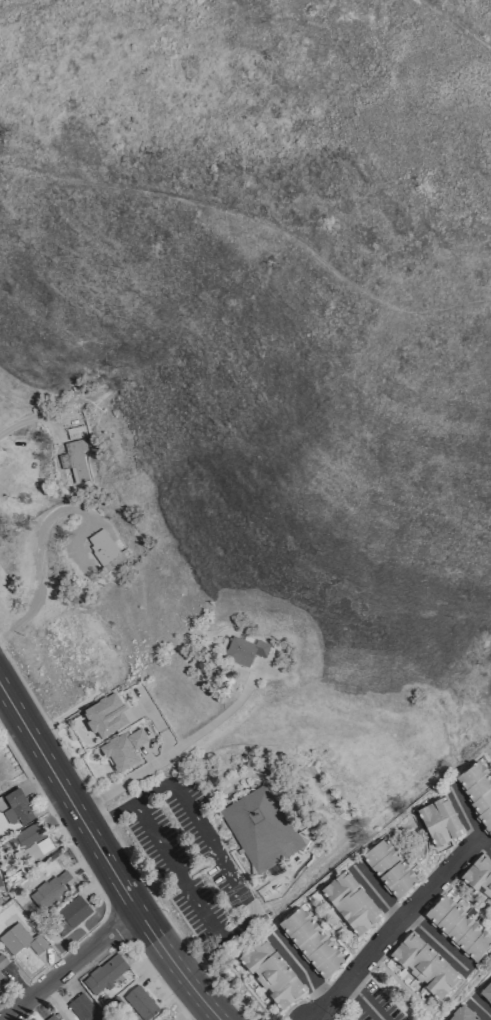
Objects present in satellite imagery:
road: (454, 22)
road: (257, 220)
road: (22, 420)
building: (19, 458)
building: (74, 460)
building: (103, 549)
road: (36, 559)
building: (92, 641)
building: (244, 650)
building: (104, 716)
road: (166, 744)
road: (175, 748)
building: (123, 750)
building: (475, 792)
building: (17, 808)
building: (440, 821)
road: (467, 821)
building: (261, 828)
building: (30, 843)
road: (214, 850)
road: (105, 855)
building: (390, 868)
road: (177, 873)
building: (480, 875)
building: (50, 890)
road: (376, 895)
building: (351, 903)
building: (72, 914)
road: (391, 927)
building: (459, 927)
building: (20, 940)
building: (312, 943)
road: (436, 944)
building: (2, 960)
road: (69, 964)
building: (424, 965)
road: (301, 967)
building: (105, 973)
building: (272, 974)
building: (1, 979)
building: (486, 992)
road: (365, 1000)
building: (141, 1002)
building: (83, 1008)
building: (462, 1014)
building: (52, 1018)

